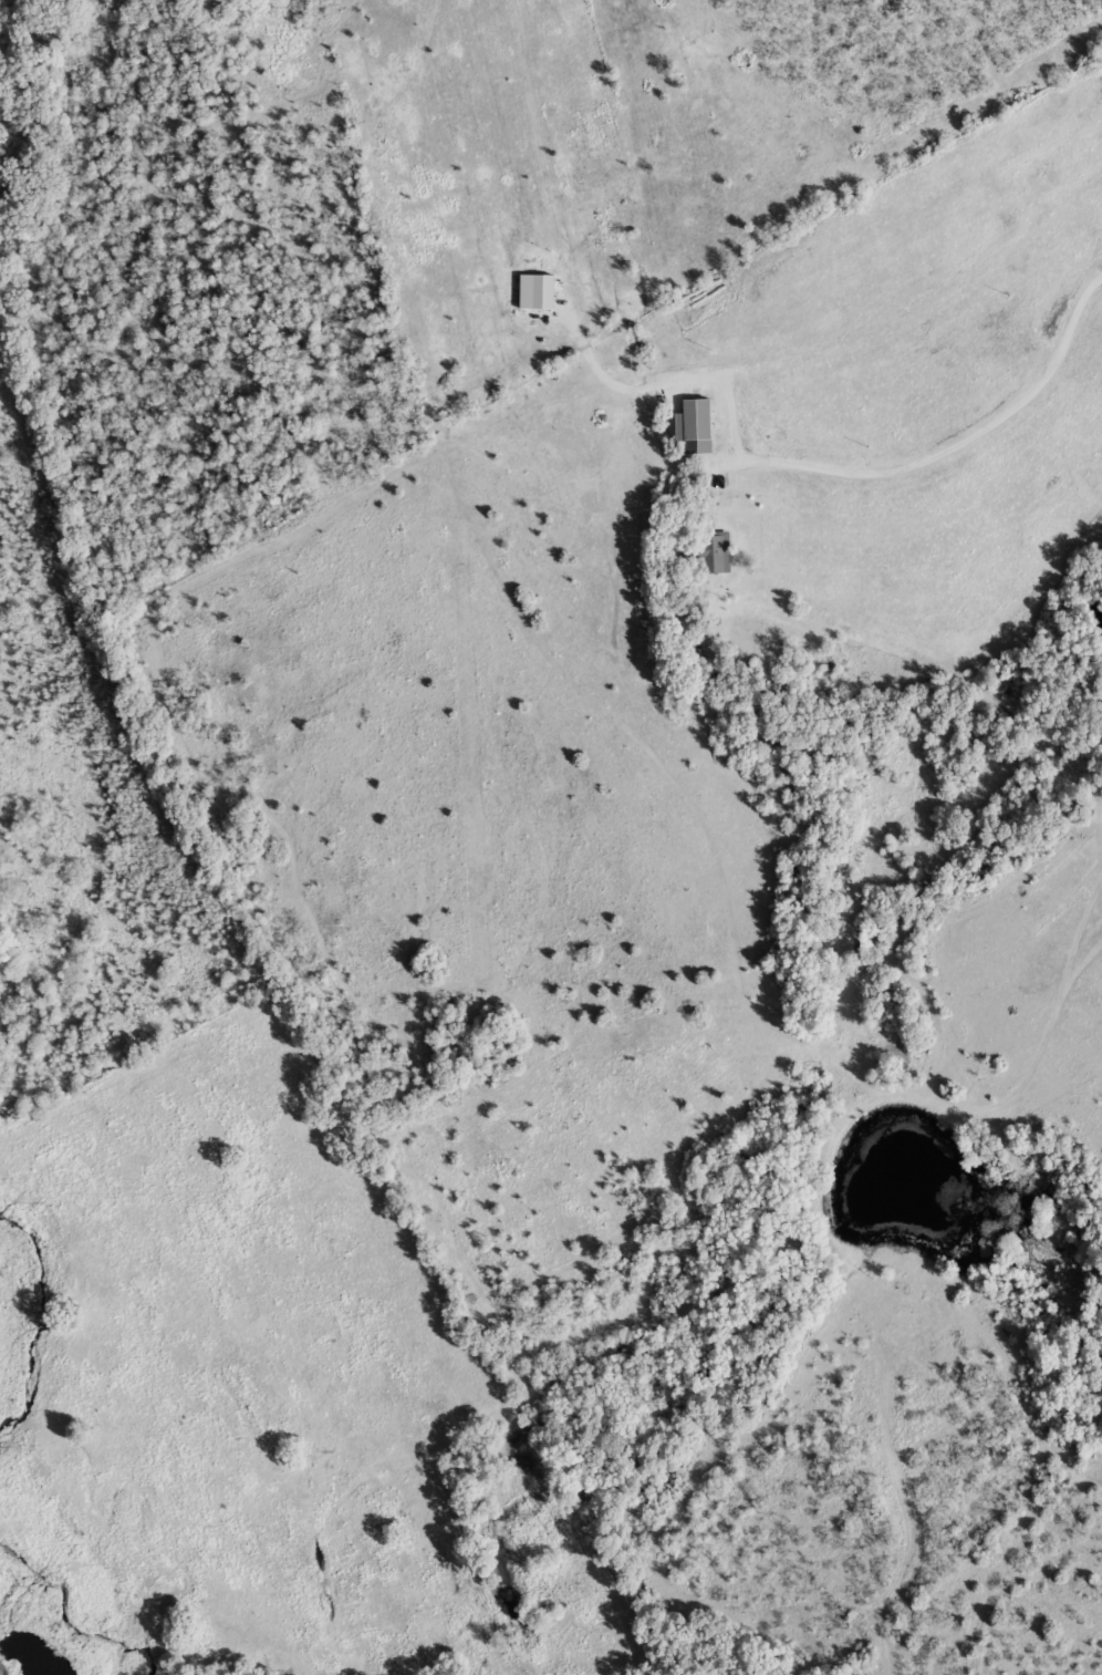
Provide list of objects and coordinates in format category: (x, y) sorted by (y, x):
building: (539, 291)
building: (696, 426)
road: (946, 443)
building: (710, 552)
building: (1080, 811)

